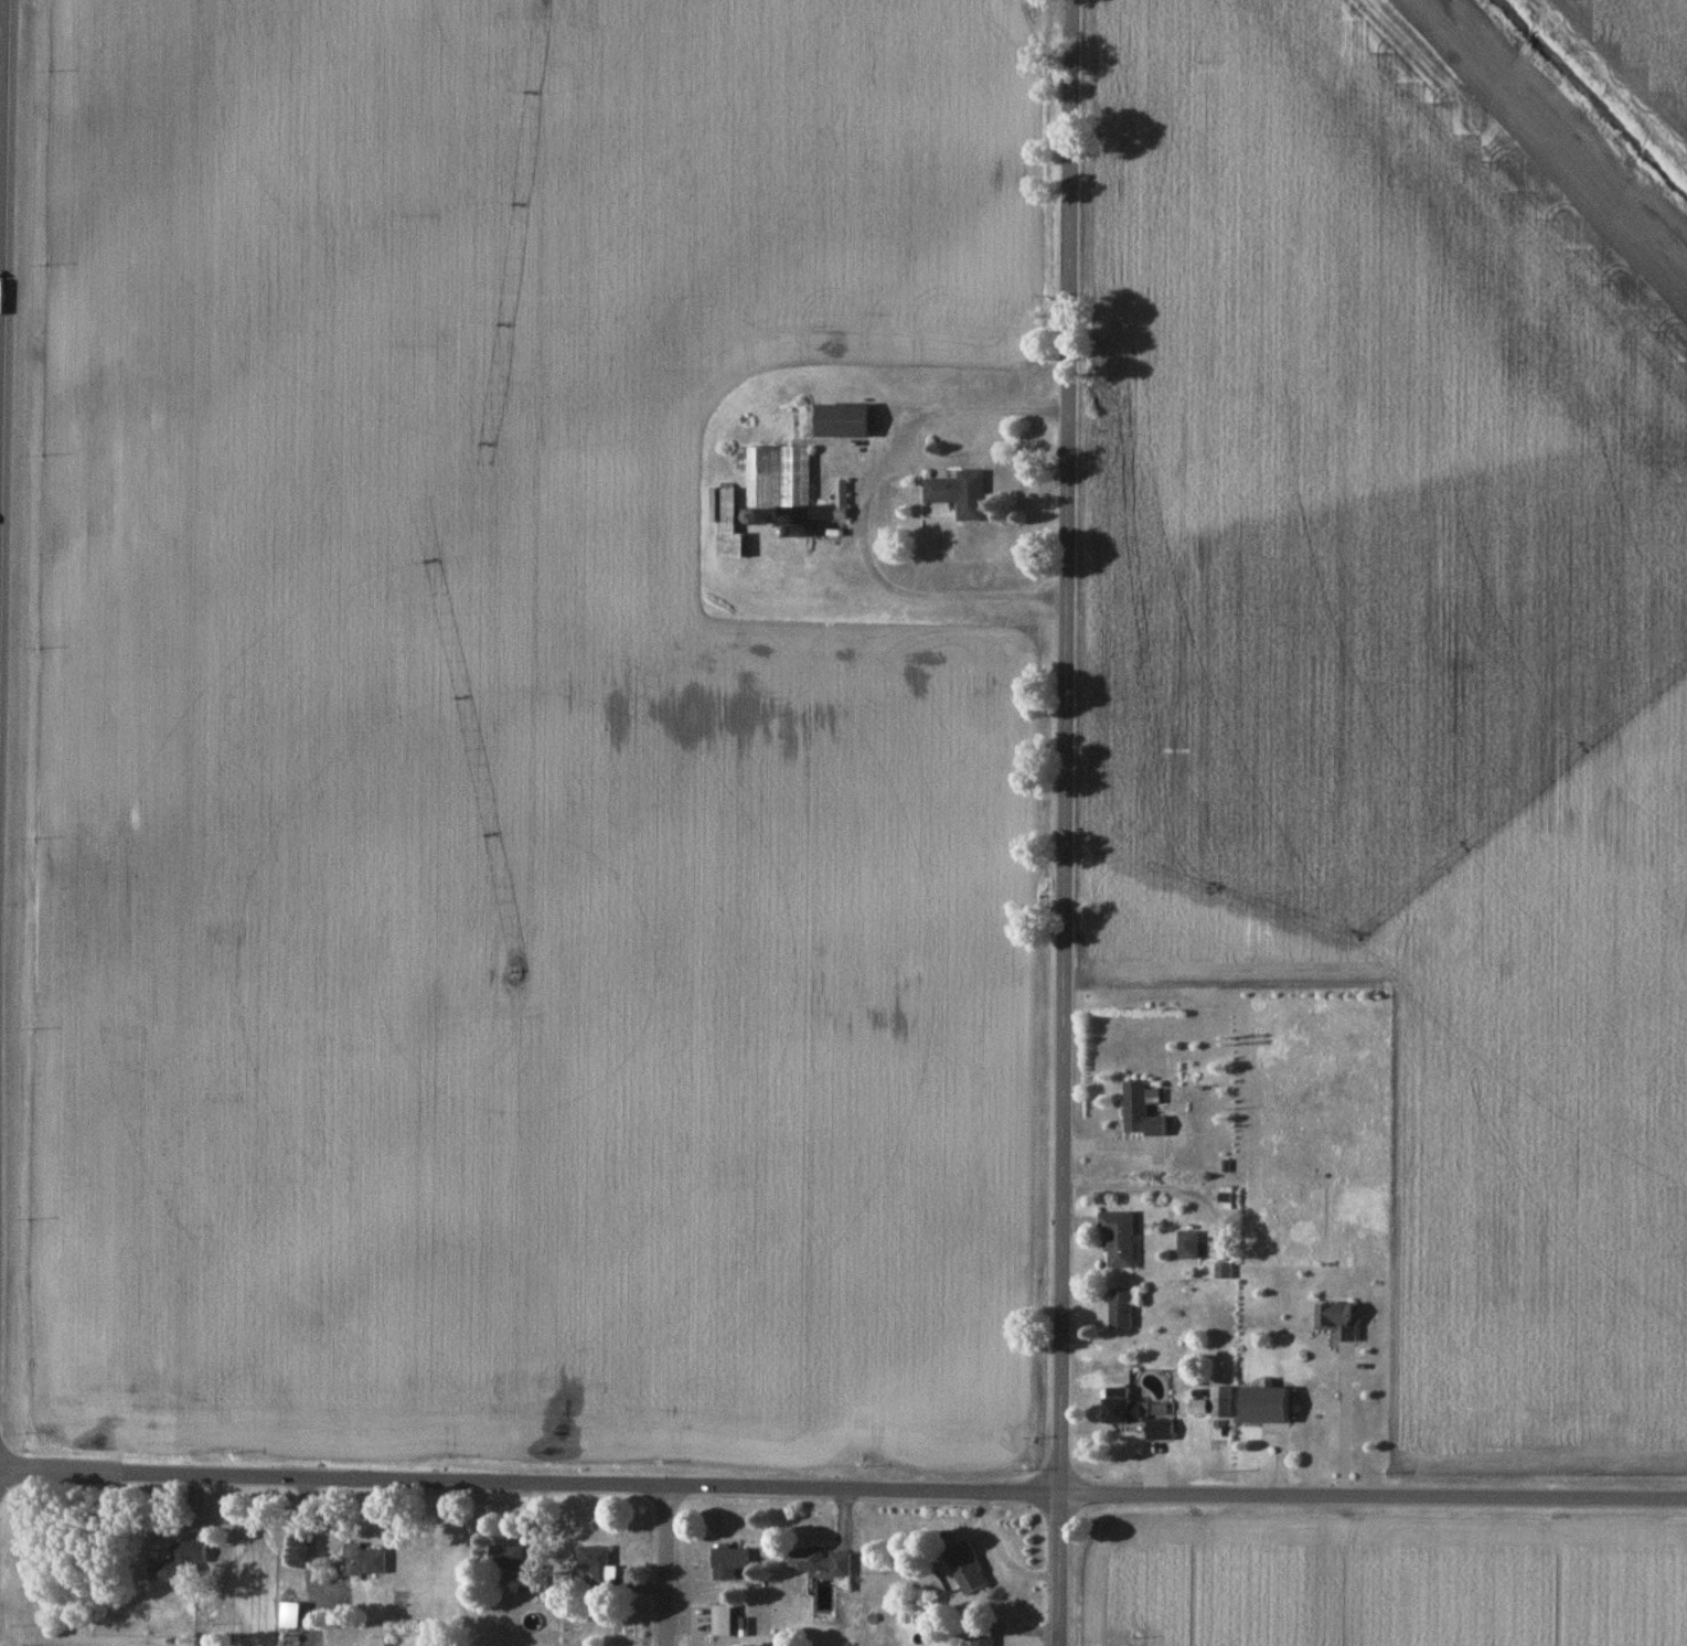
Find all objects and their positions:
road: (864, 512)
road: (1057, 823)
road: (1142, 1187)
road: (1345, 1423)
road: (843, 1490)
road: (664, 1568)

